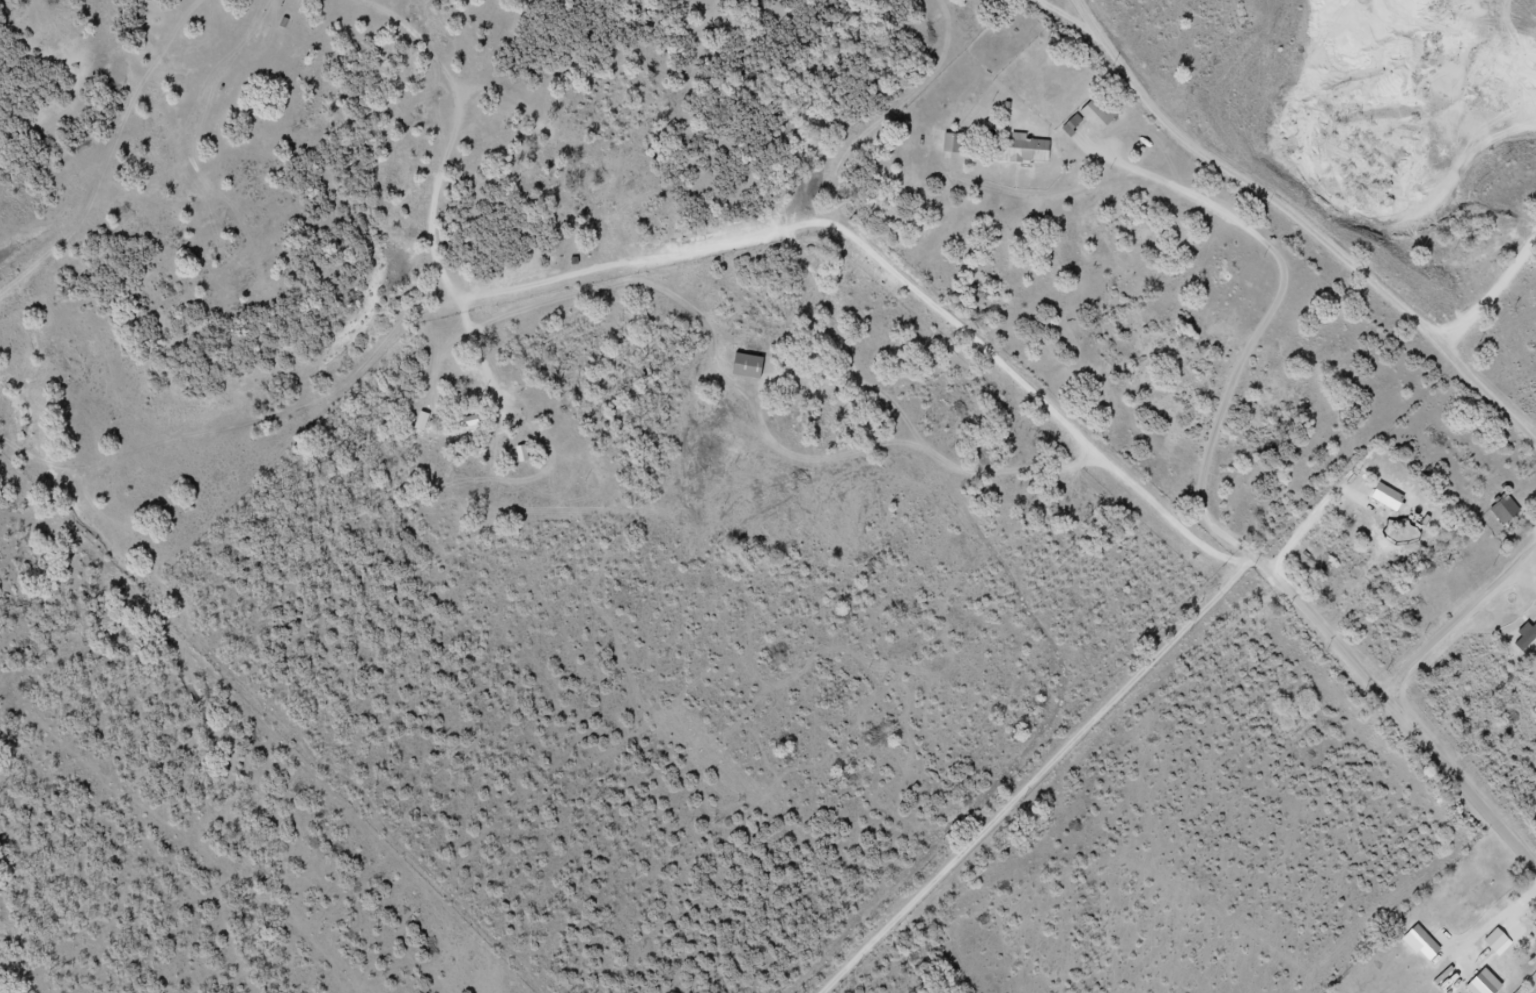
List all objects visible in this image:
building: (257, 33)
building: (1092, 117)
building: (953, 144)
building: (1027, 150)
building: (746, 366)
road: (232, 437)
building: (1385, 497)
building: (1506, 512)
road: (1208, 550)
road: (1461, 624)
building: (1525, 636)
road: (1047, 778)
building: (1514, 911)
building: (1514, 944)

